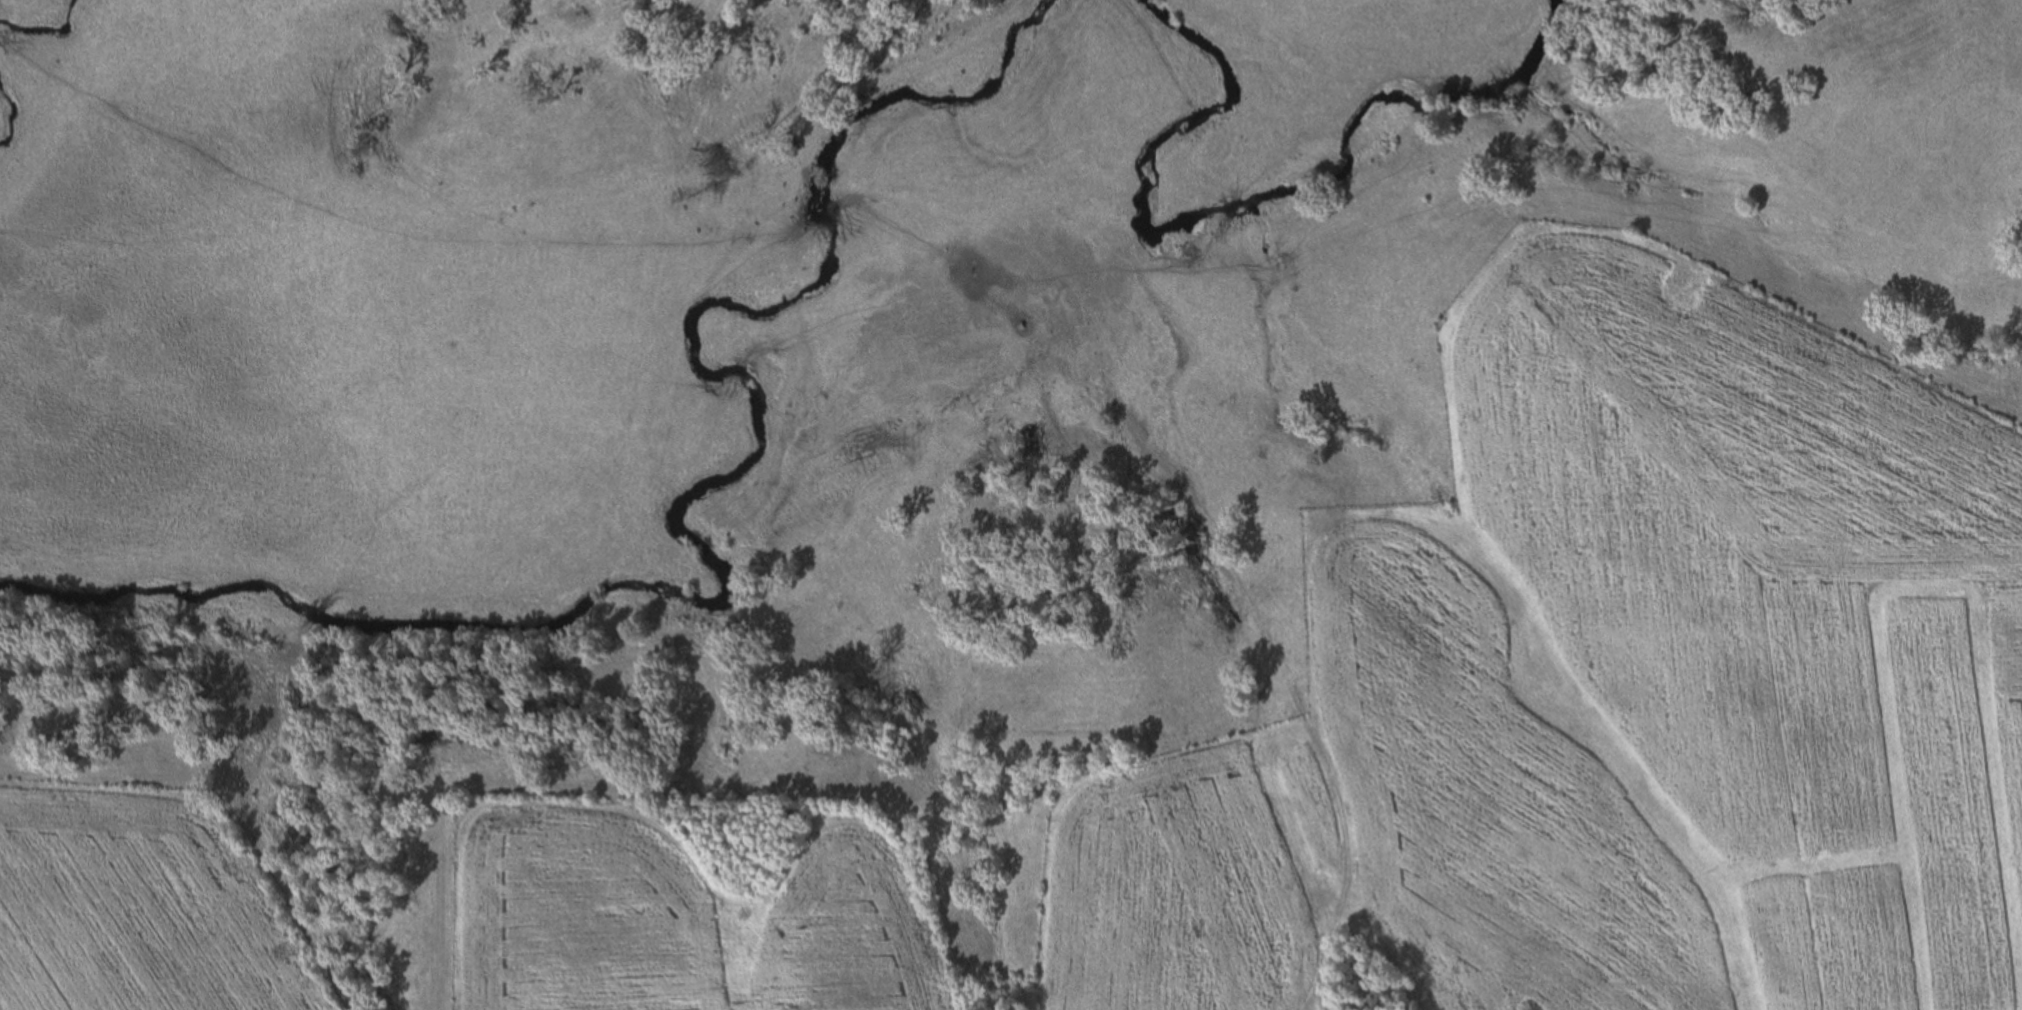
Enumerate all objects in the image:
road: (1350, 857)

